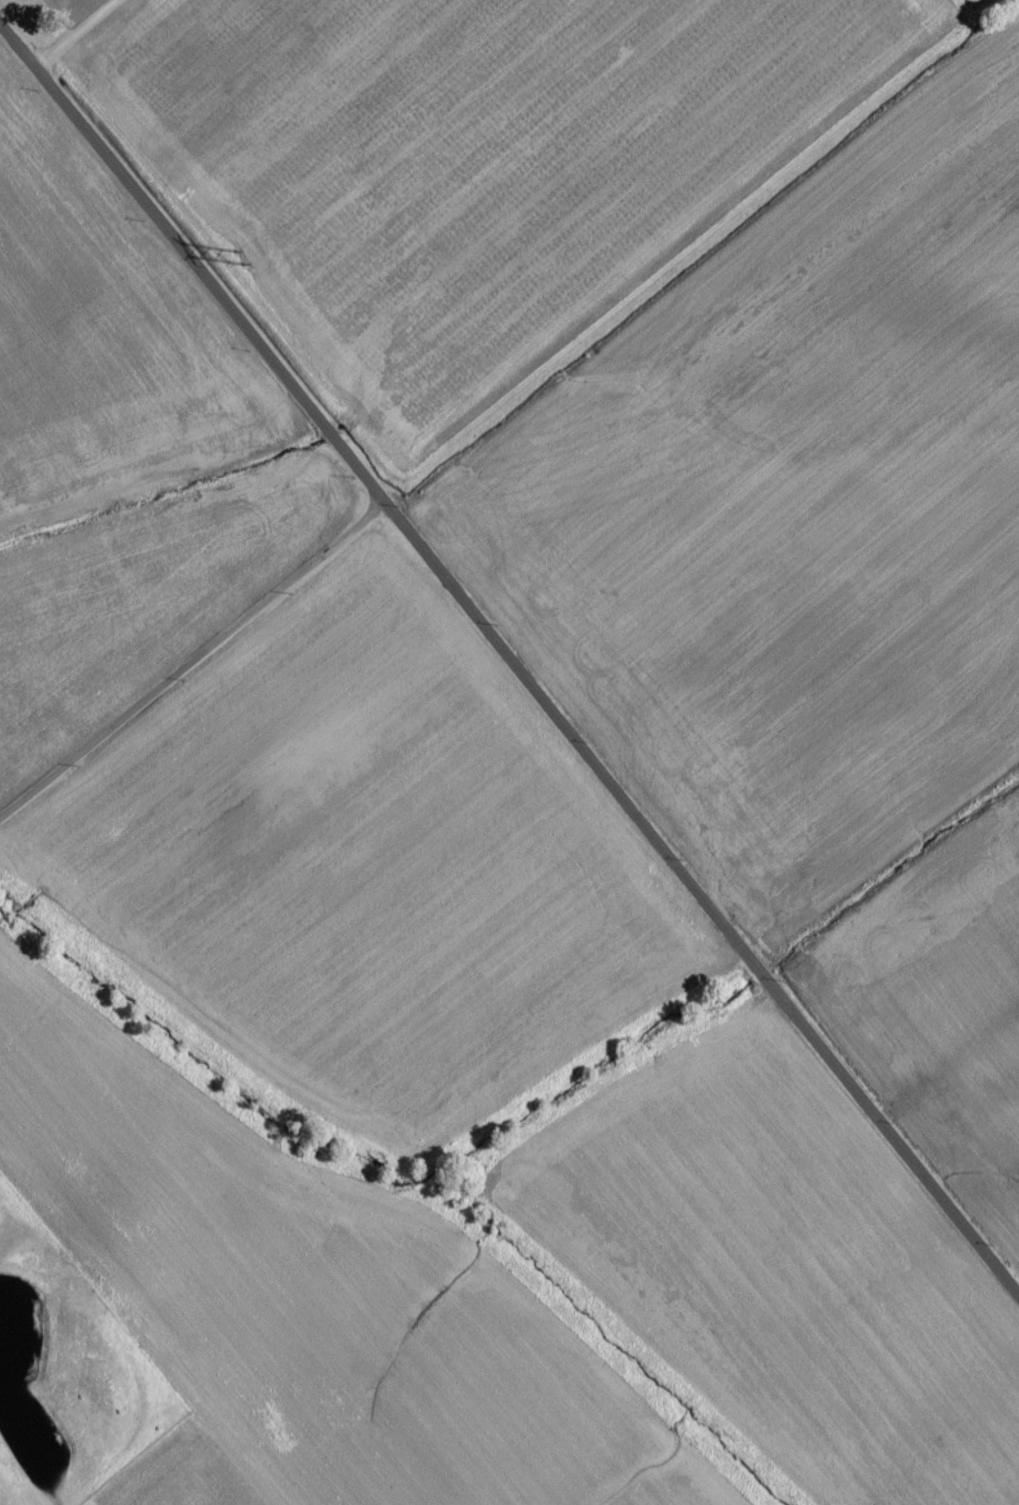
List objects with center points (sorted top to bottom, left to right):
road: (76, 35)
power tower: (242, 263)
road: (191, 653)
road: (512, 665)

